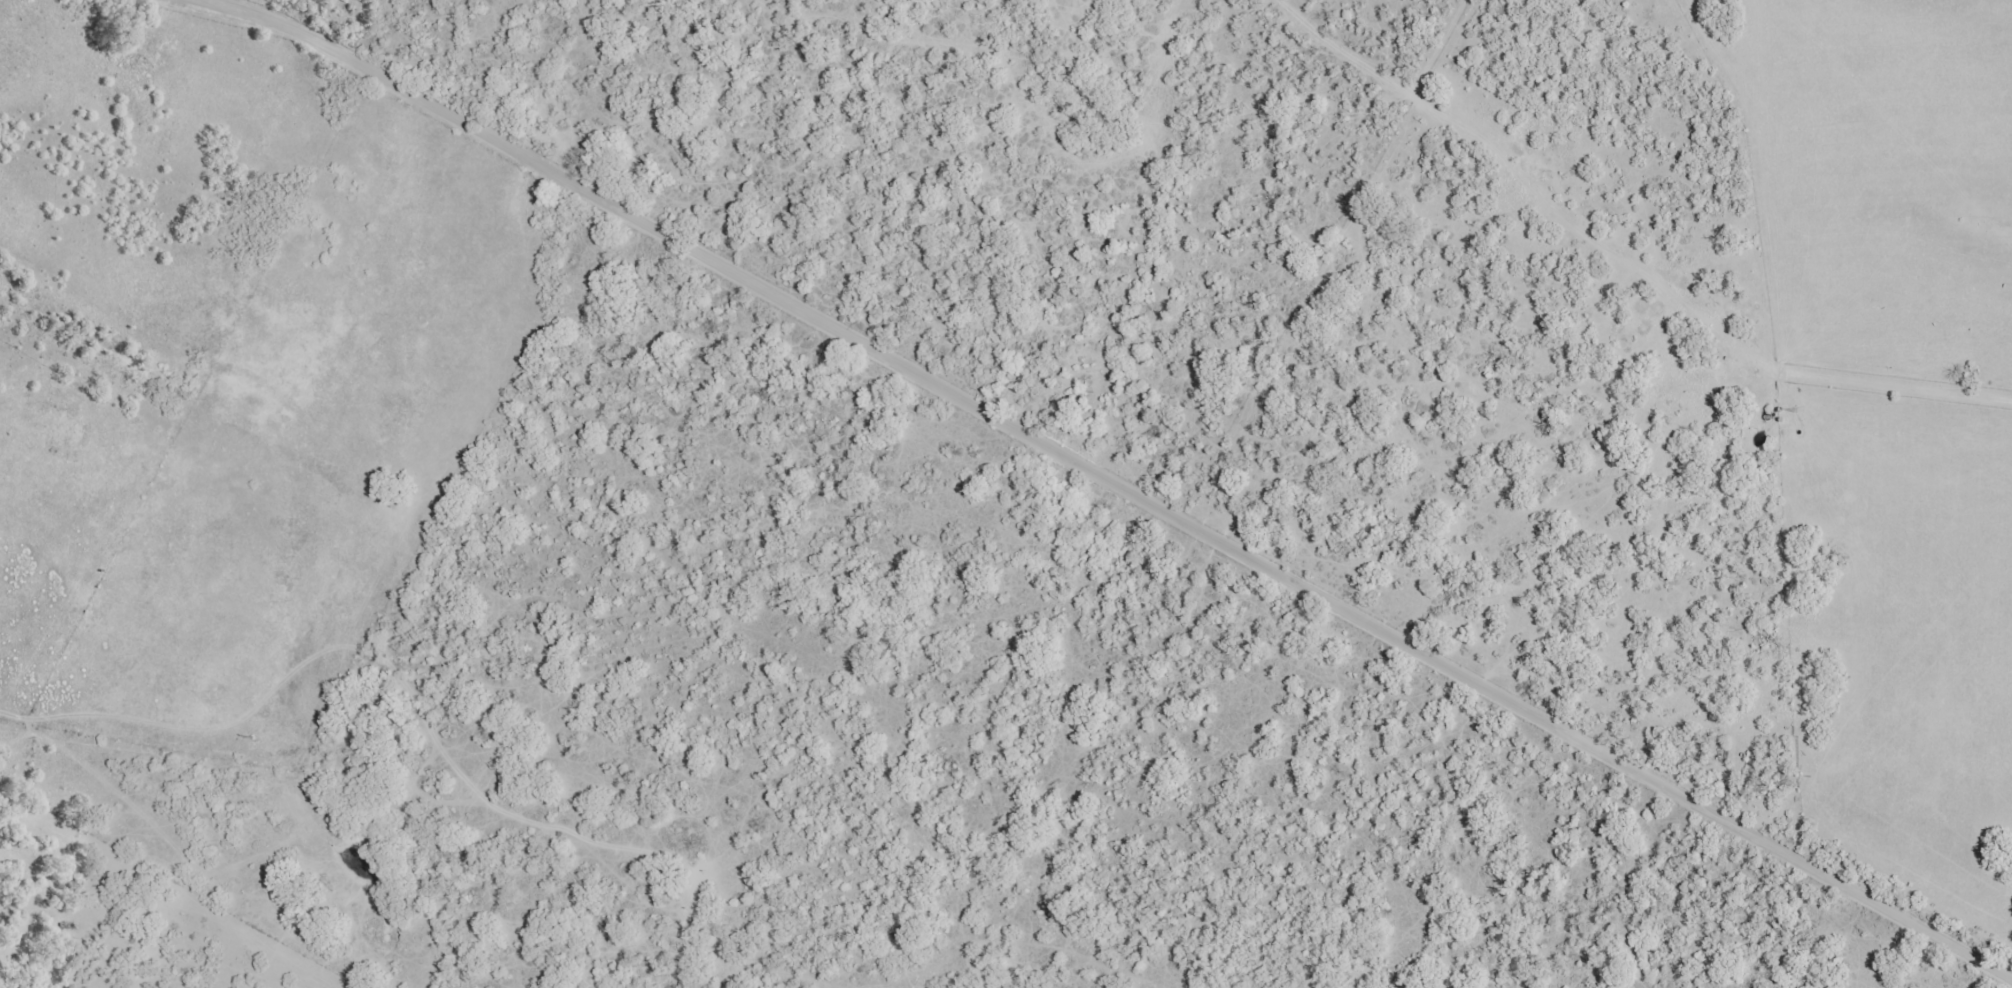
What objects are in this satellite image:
road: (1116, 483)

